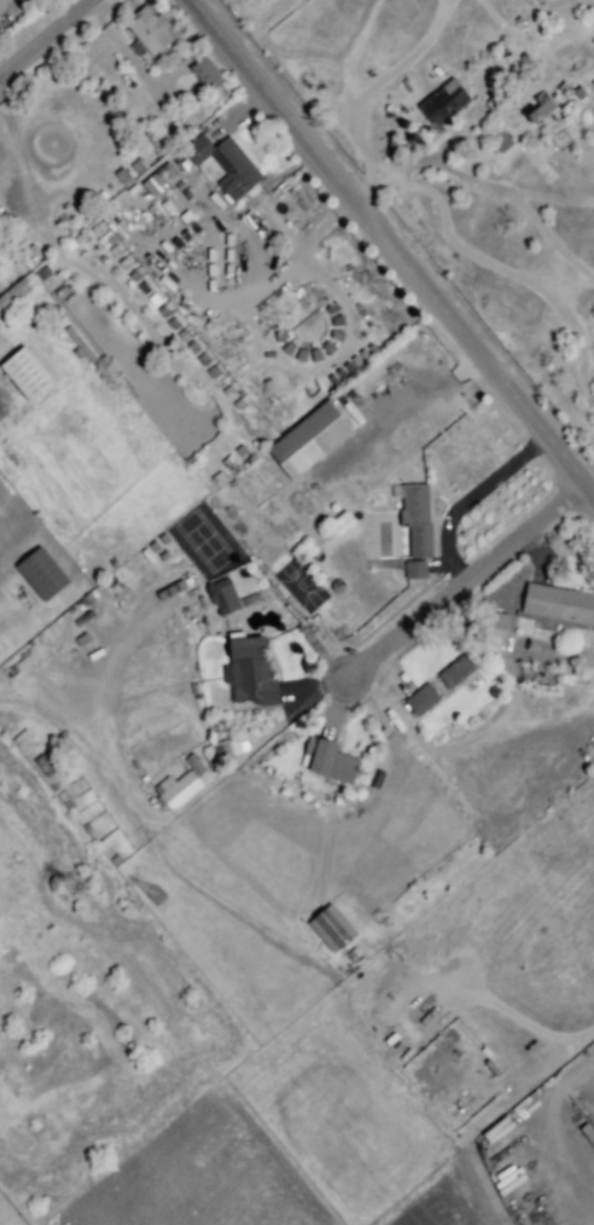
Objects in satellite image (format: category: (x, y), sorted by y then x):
building: (147, 31)
road: (45, 36)
building: (205, 72)
building: (127, 79)
building: (467, 79)
road: (378, 82)
building: (570, 87)
building: (443, 101)
building: (491, 103)
building: (540, 108)
building: (592, 117)
building: (500, 140)
building: (220, 162)
building: (138, 164)
building: (123, 174)
building: (159, 179)
road: (482, 184)
building: (179, 185)
building: (153, 211)
building: (115, 213)
building: (185, 216)
building: (181, 238)
road: (391, 246)
building: (185, 259)
building: (13, 292)
building: (81, 343)
building: (24, 372)
building: (308, 439)
road: (471, 497)
building: (414, 522)
building: (414, 568)
building: (40, 573)
road: (467, 579)
building: (222, 596)
building: (557, 606)
building: (83, 617)
building: (490, 627)
building: (23, 661)
building: (249, 670)
building: (455, 670)
building: (421, 699)
building: (18, 744)
building: (217, 750)
building: (327, 760)
building: (193, 764)
building: (43, 765)
building: (177, 789)
building: (65, 800)
power tower: (71, 888)
power tower: (156, 899)
building: (331, 928)
building: (524, 1102)
building: (497, 1130)
building: (588, 1132)
road: (553, 1136)
crop: (198, 1177)
crop: (436, 1206)

